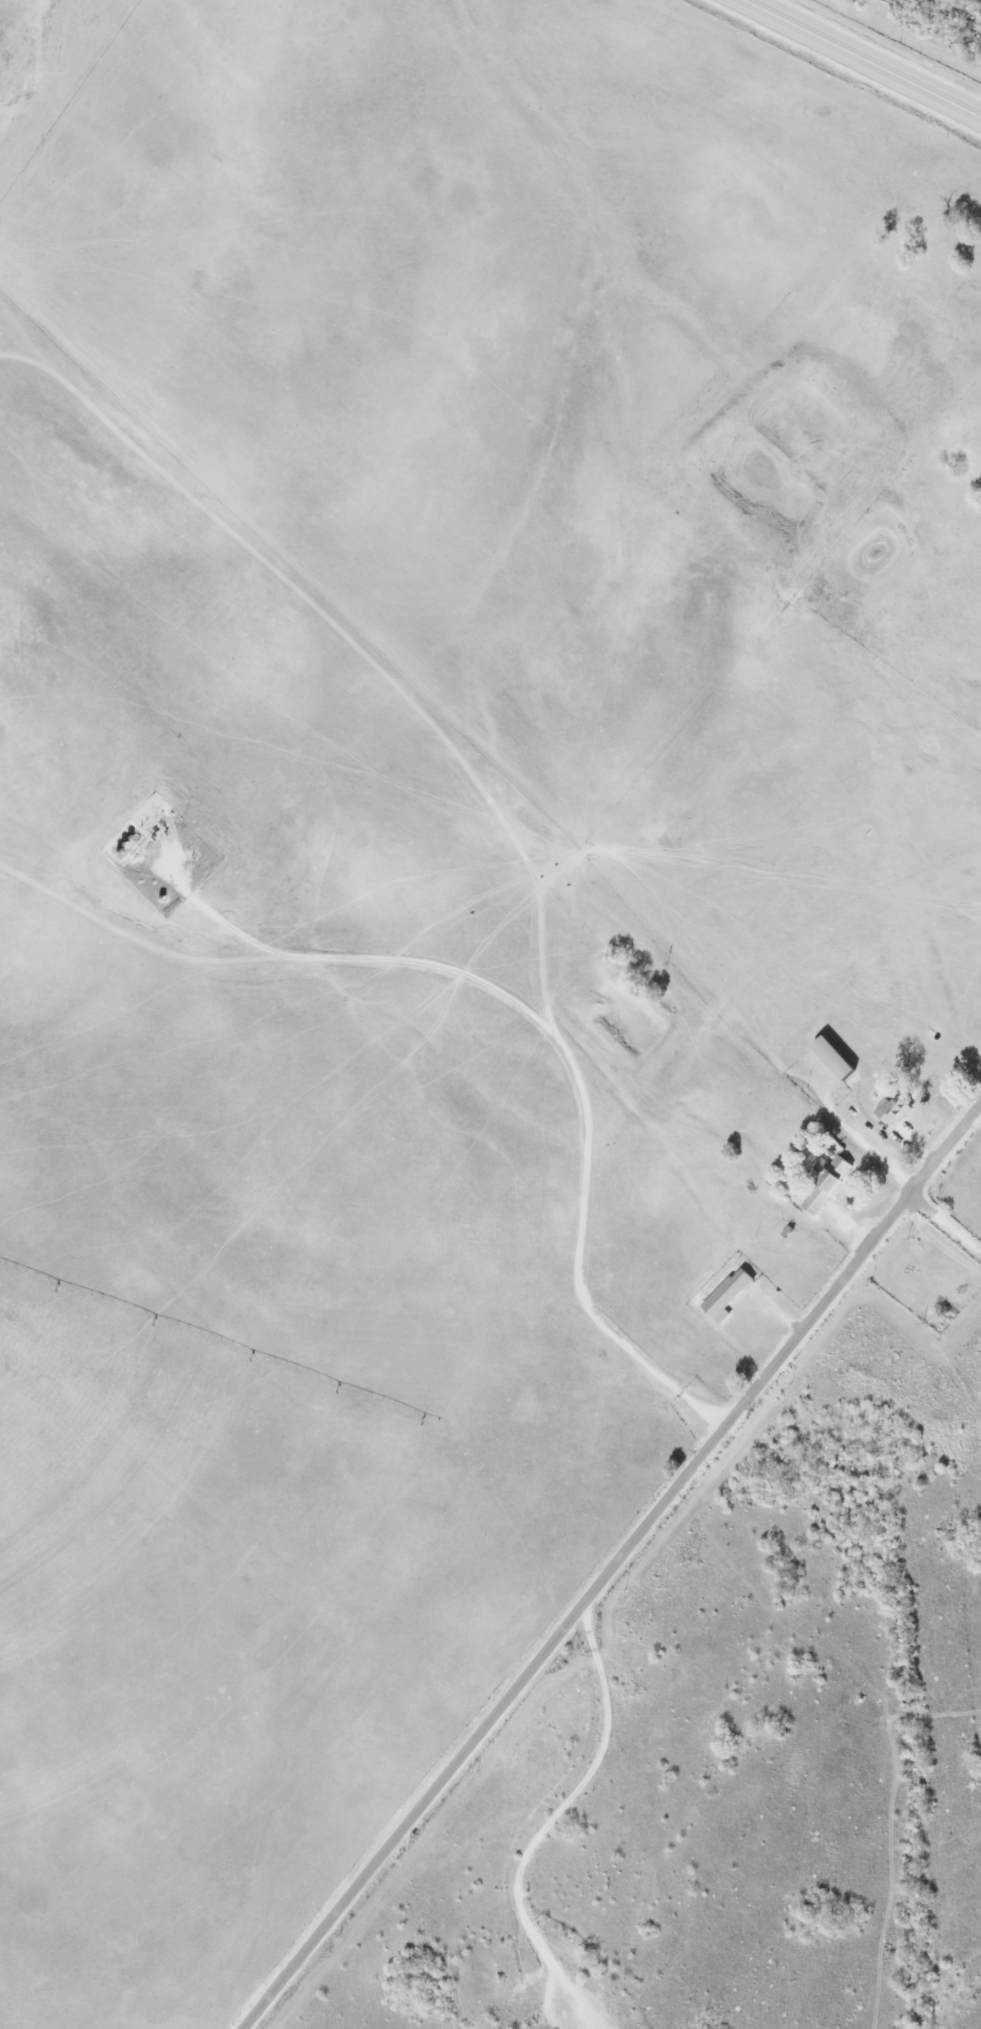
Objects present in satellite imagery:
road: (869, 56)
building: (839, 1058)
building: (894, 1110)
building: (829, 1185)
road: (947, 1219)
building: (731, 1294)
road: (615, 1569)

